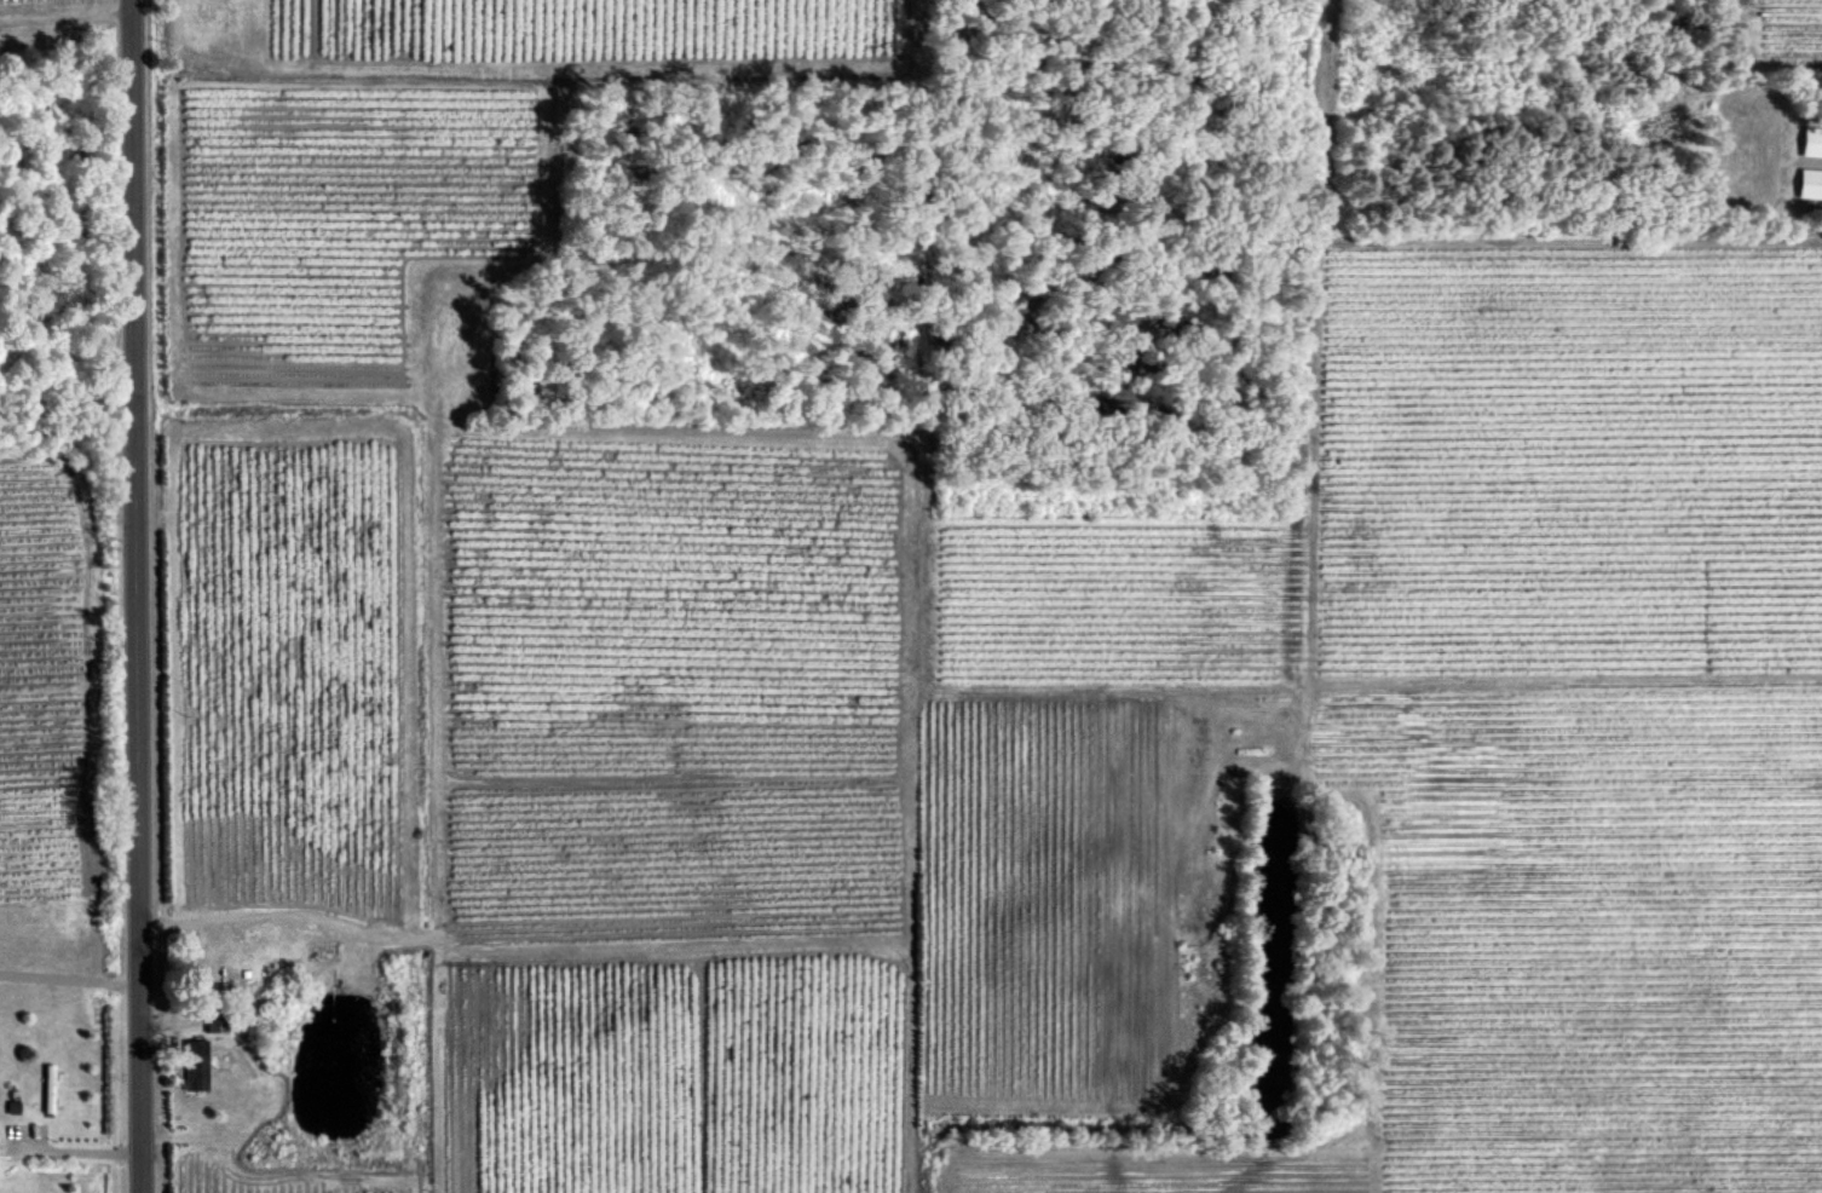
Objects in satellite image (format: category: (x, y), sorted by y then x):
building: (1811, 140)
building: (1810, 183)
road: (139, 595)
road: (70, 975)
building: (214, 1020)
building: (195, 1064)

